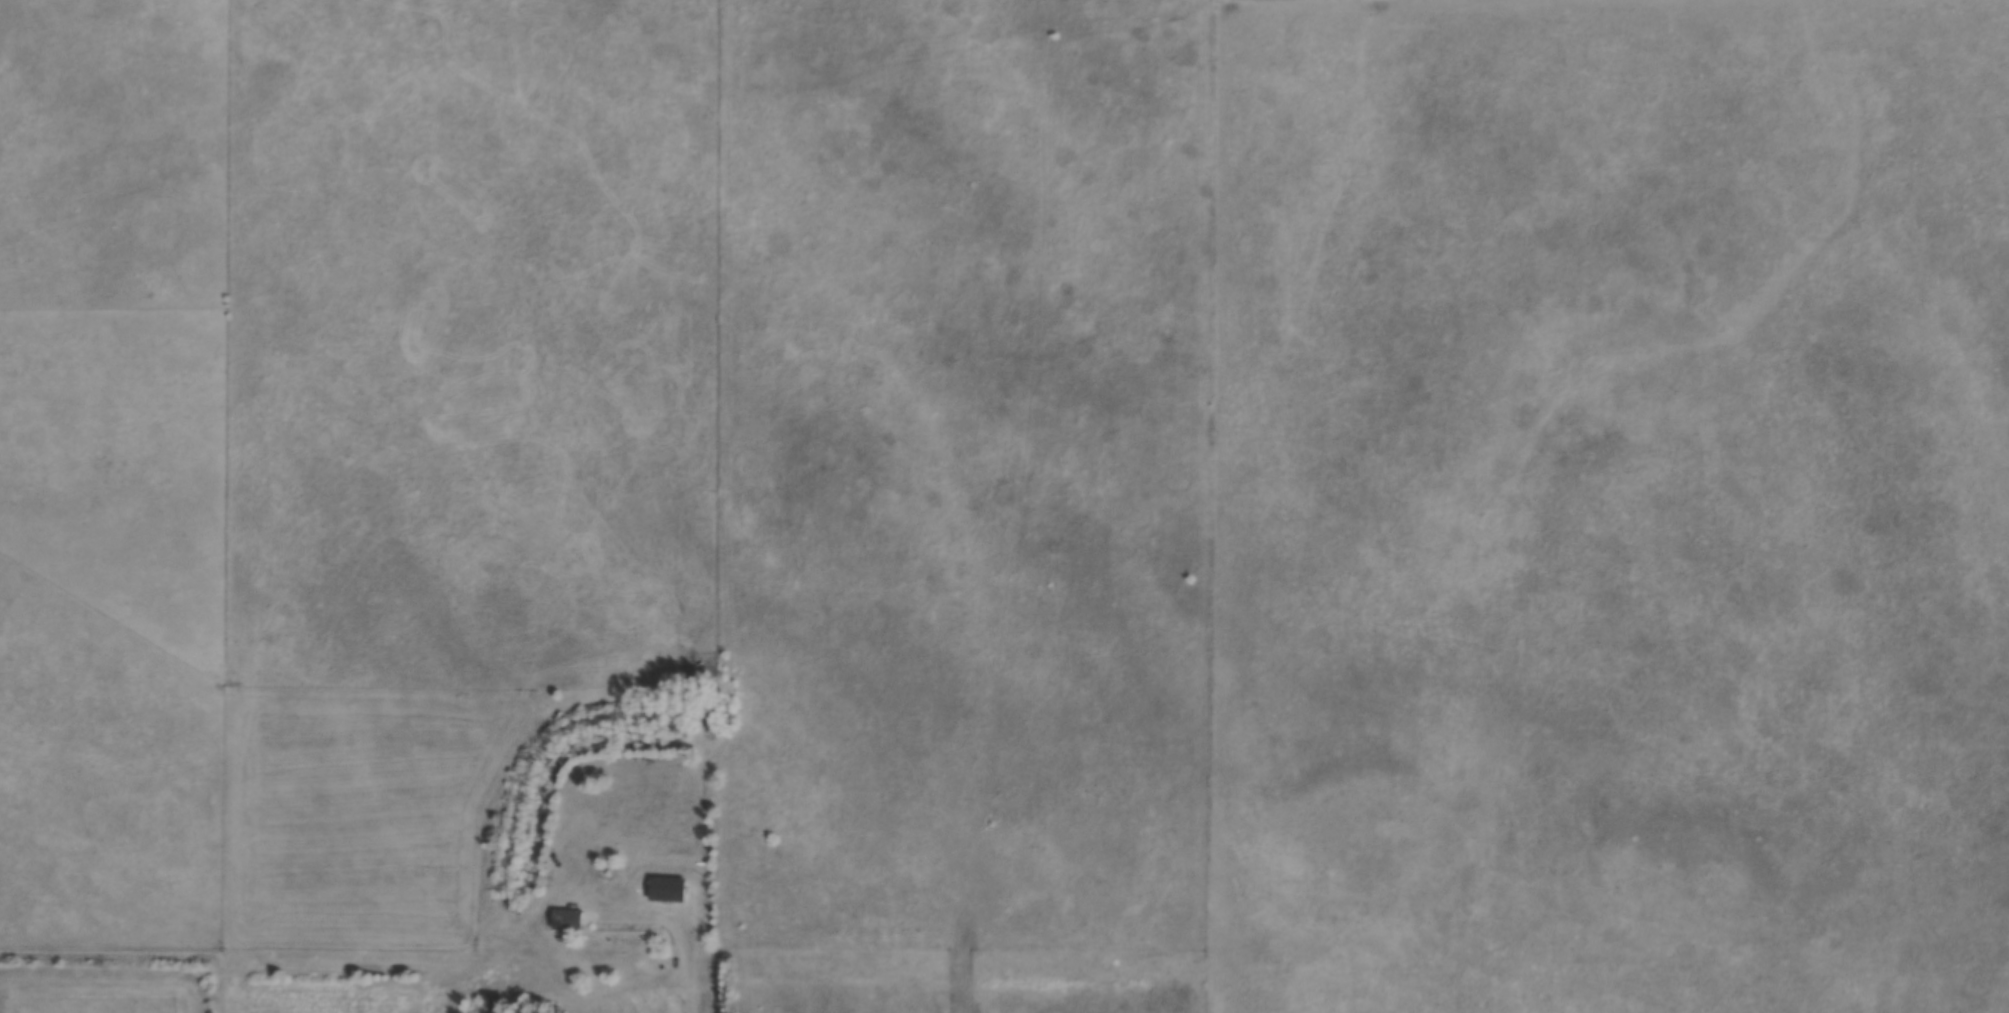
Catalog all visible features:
building: (690, 673)
building: (669, 887)
building: (568, 918)
road: (675, 924)

